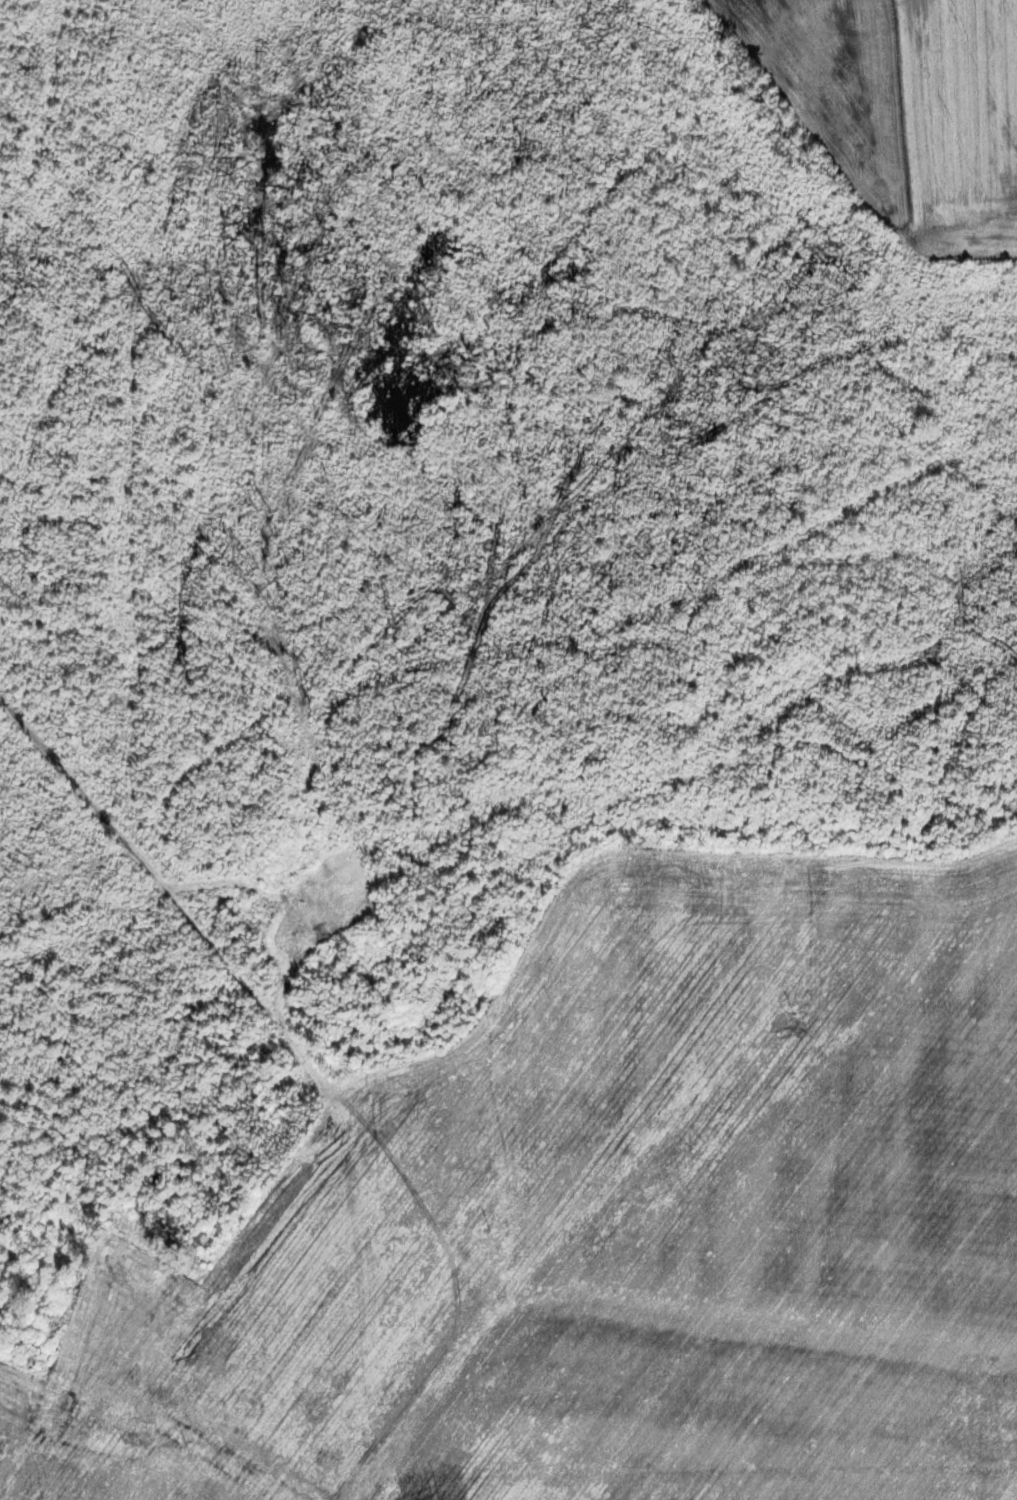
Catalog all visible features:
building: (78, 1306)
road: (650, 1322)
building: (120, 1379)
building: (145, 1402)

